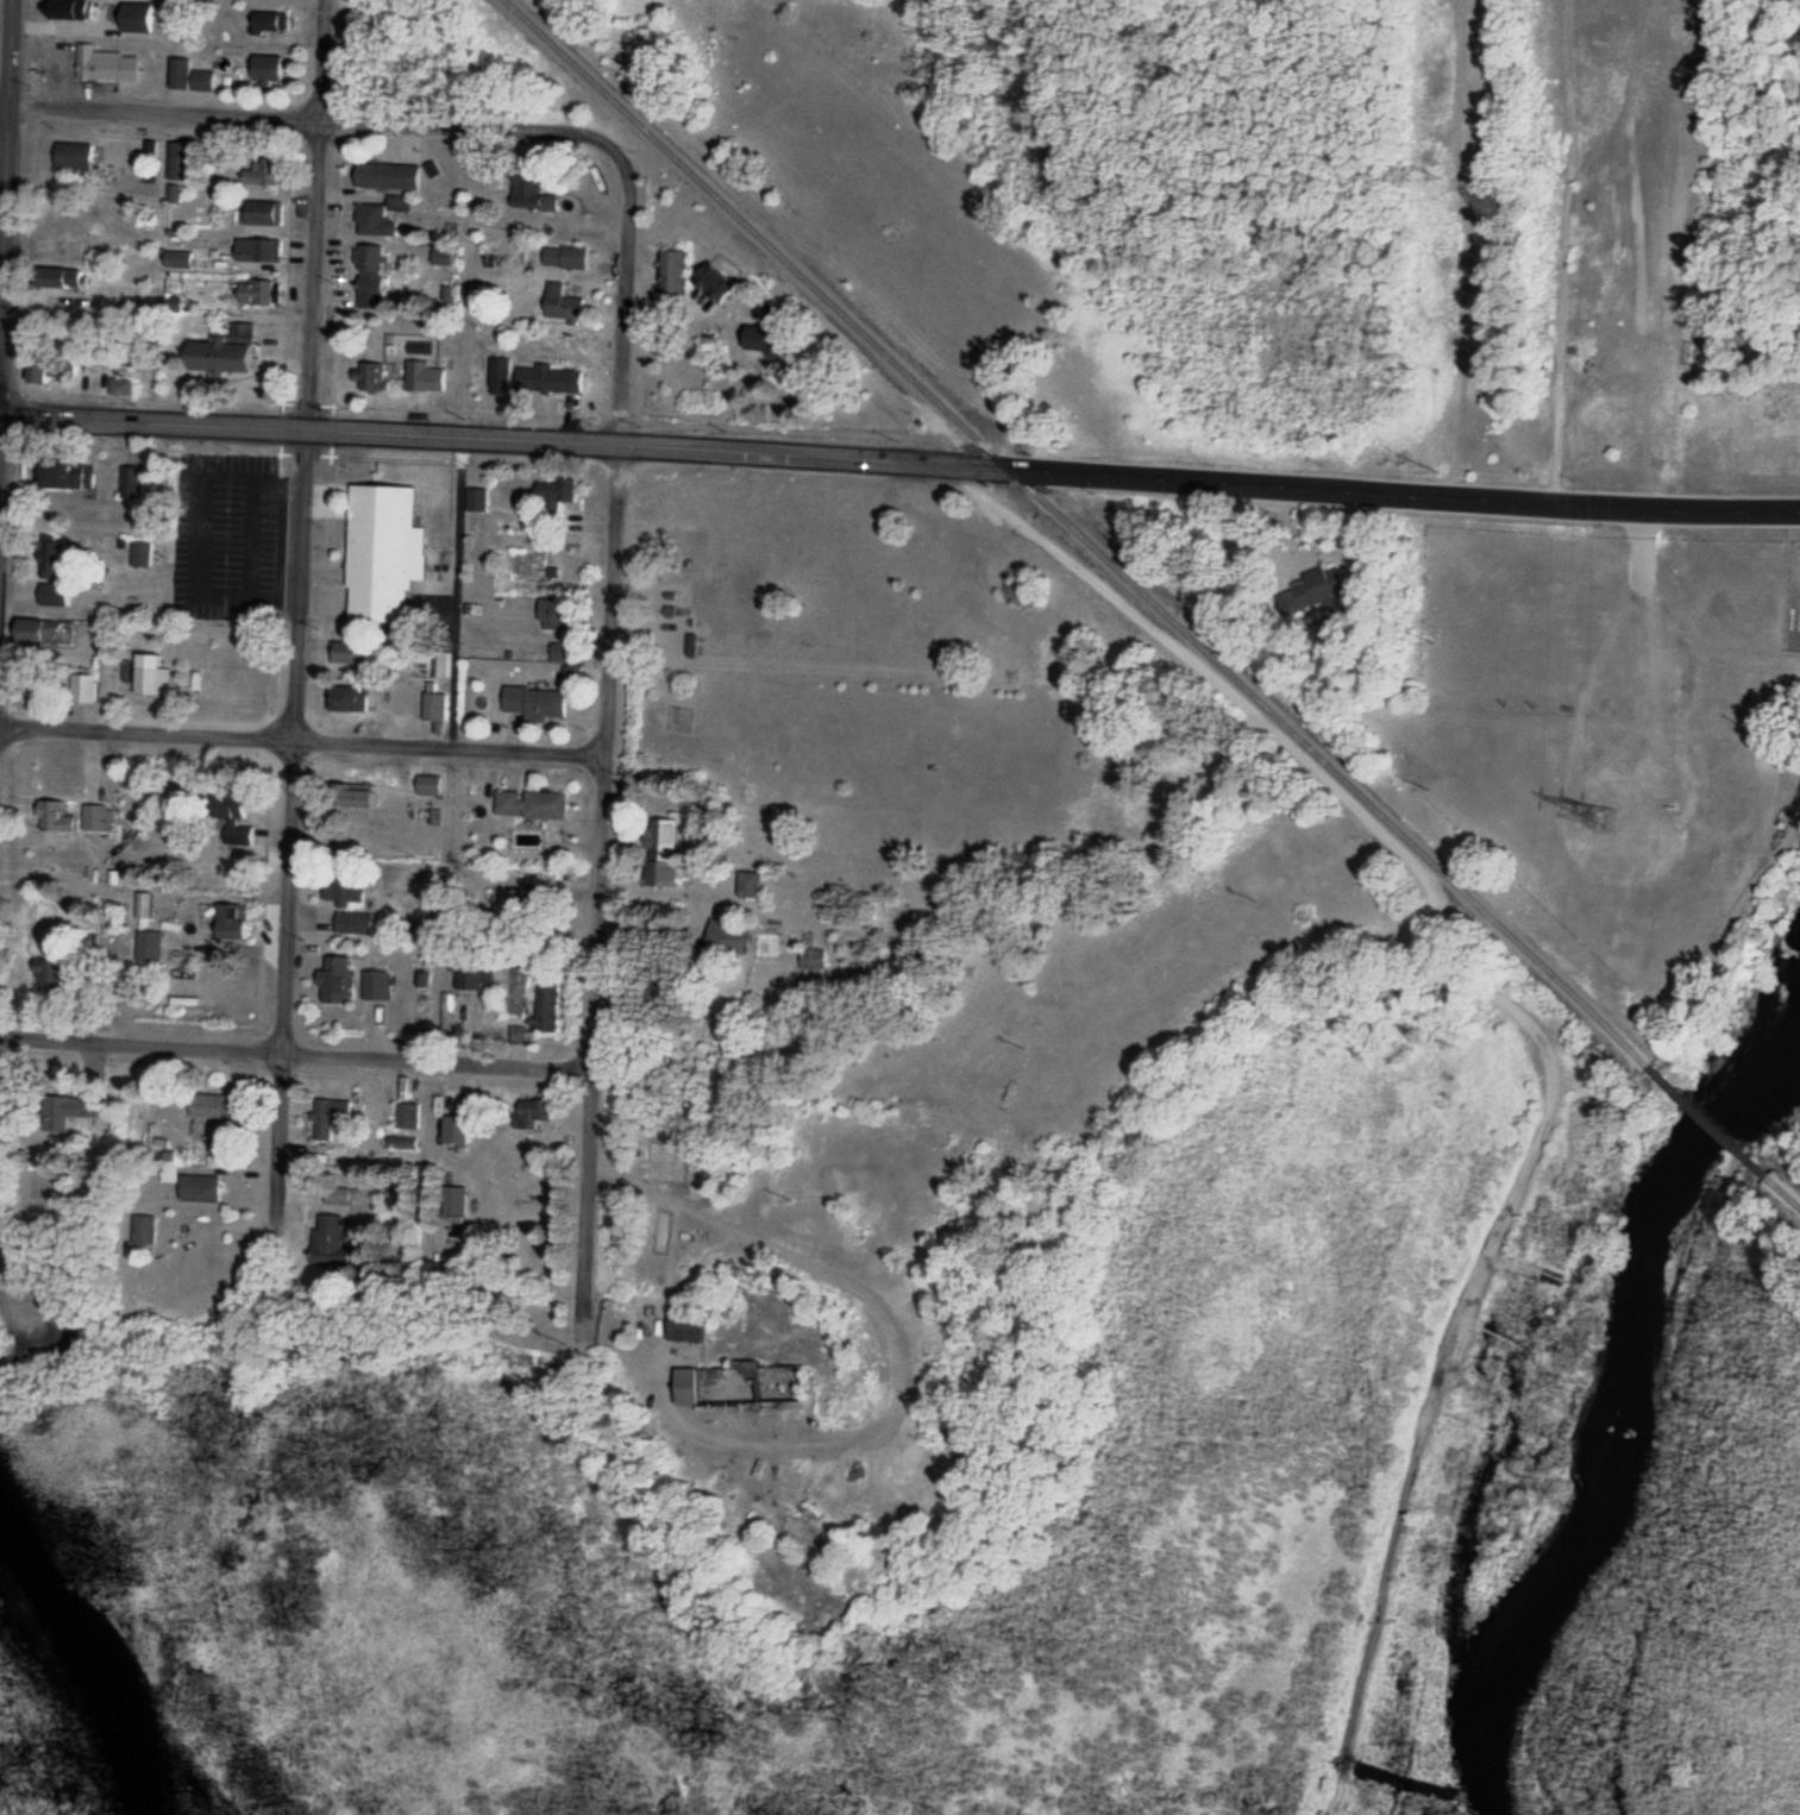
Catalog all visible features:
building: (68, 10)
building: (266, 26)
building: (106, 65)
building: (265, 69)
building: (188, 77)
road: (309, 125)
building: (73, 157)
building: (177, 162)
road: (7, 169)
building: (261, 174)
building: (387, 177)
building: (531, 196)
building: (399, 205)
building: (261, 214)
building: (374, 222)
building: (584, 222)
building: (258, 252)
road: (1637, 255)
building: (441, 257)
building: (564, 259)
building: (369, 264)
building: (670, 274)
building: (57, 280)
building: (258, 294)
building: (562, 304)
building: (222, 353)
building: (46, 372)
building: (420, 377)
building: (371, 378)
building: (547, 381)
building: (121, 389)
road: (308, 428)
building: (67, 477)
road: (1208, 482)
building: (130, 484)
building: (556, 491)
building: (477, 501)
railway: (1077, 533)
building: (382, 554)
building: (142, 555)
building: (54, 572)
building: (1312, 591)
road: (459, 594)
building: (552, 616)
road: (295, 627)
building: (39, 634)
building: (351, 654)
building: (151, 678)
building: (83, 690)
building: (349, 701)
building: (534, 704)
building: (434, 709)
road: (299, 745)
road: (597, 762)
building: (428, 787)
building: (352, 798)
building: (531, 806)
building: (55, 818)
building: (100, 819)
power tower: (1599, 822)
building: (660, 854)
building: (748, 886)
building: (232, 924)
building: (725, 940)
building: (150, 948)
building: (813, 961)
building: (473, 976)
building: (48, 979)
building: (335, 982)
building: (375, 987)
building: (546, 1010)
road: (290, 1061)
building: (211, 1107)
building: (70, 1114)
building: (533, 1116)
building: (330, 1118)
building: (407, 1118)
railway: (1710, 1124)
building: (454, 1131)
building: (403, 1143)
building: (199, 1191)
railway: (1785, 1194)
building: (344, 1199)
building: (456, 1202)
building: (143, 1232)
building: (328, 1243)
building: (684, 1330)
building: (738, 1390)
river: (1627, 1409)
river: (86, 1669)

